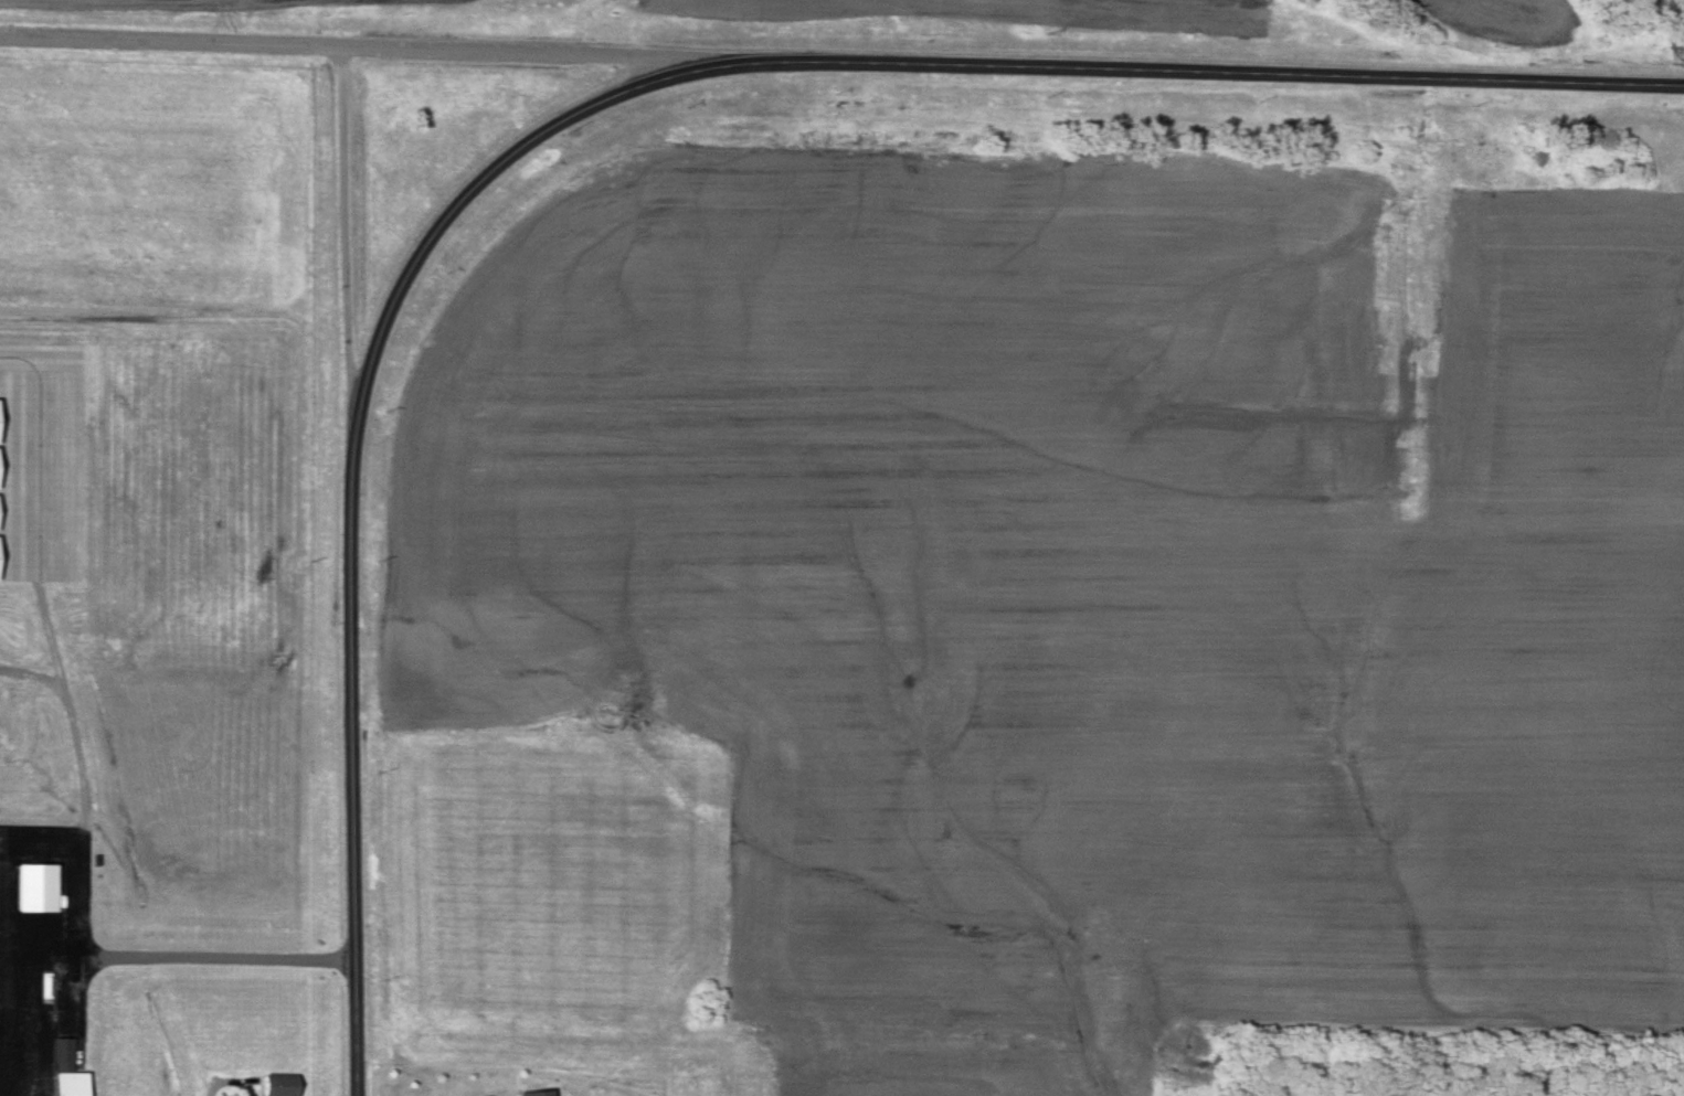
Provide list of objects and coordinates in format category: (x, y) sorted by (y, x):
crop: (178, 3)
crop: (1676, 12)
crop: (1012, 13)
crop: (1504, 18)
road: (340, 49)
road: (1180, 73)
road: (466, 191)
road: (342, 228)
crop: (160, 357)
airport: (167, 581)
crop: (1081, 581)
road: (348, 752)
building: (30, 890)
airport apron: (34, 948)
road: (180, 960)
building: (59, 1054)
crop: (918, 1068)
building: (64, 1085)
building: (278, 1087)
building: (541, 1093)

